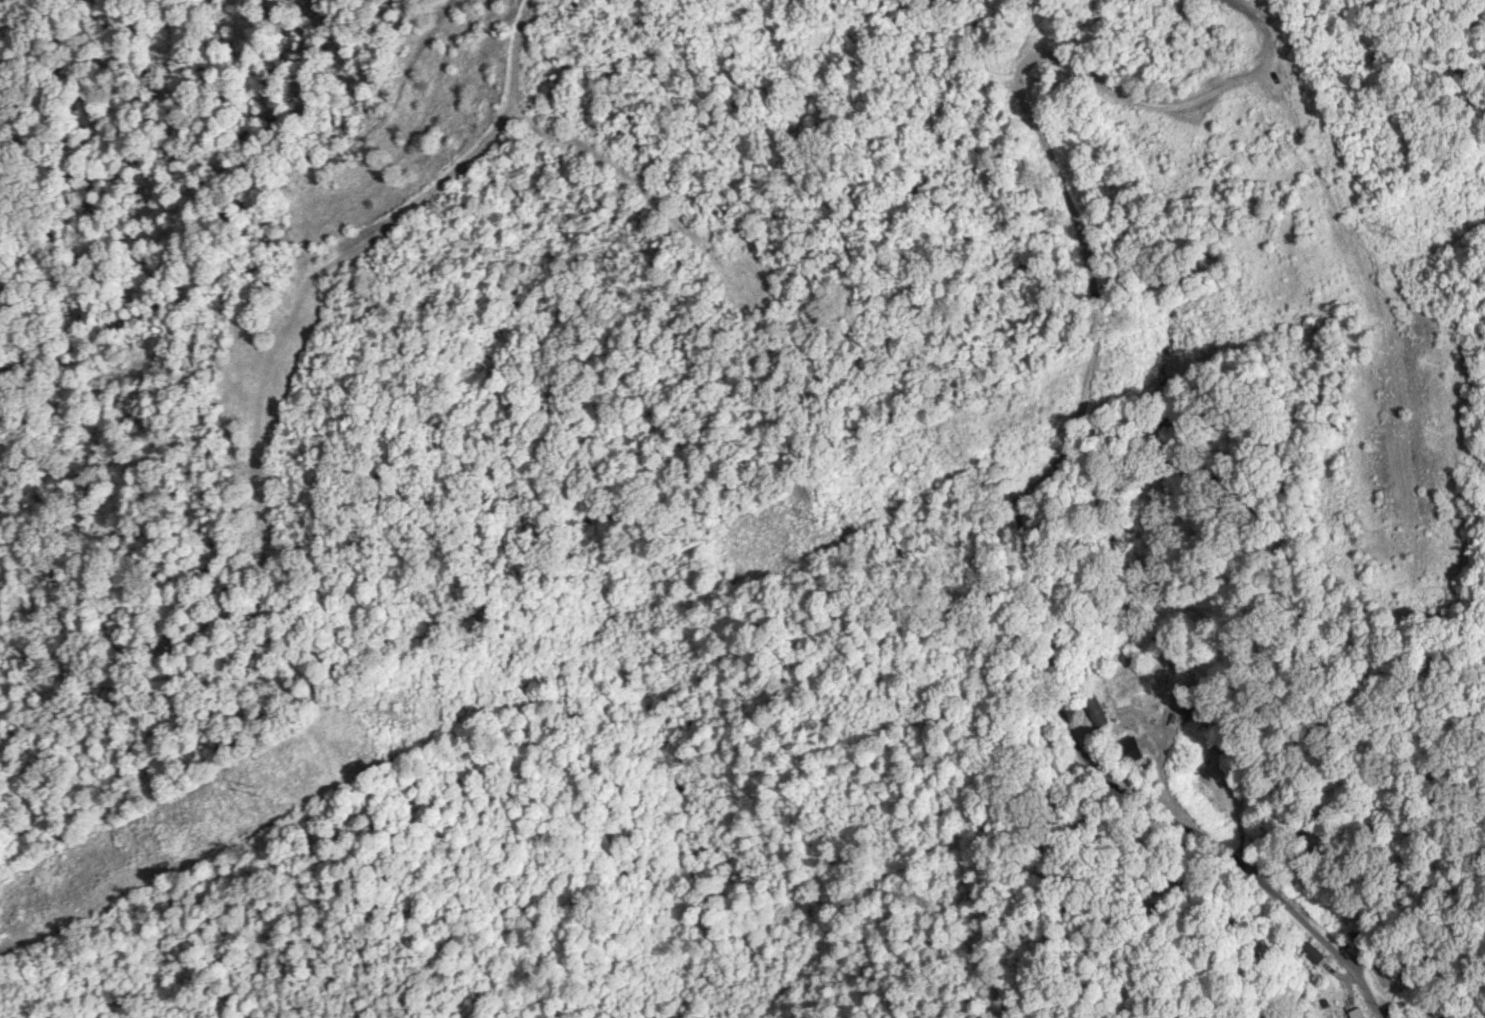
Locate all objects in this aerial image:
power tower: (1419, 223)
road: (1023, 486)
power tower: (839, 515)
power tower: (259, 790)
building: (1394, 1011)
building: (1420, 1017)

